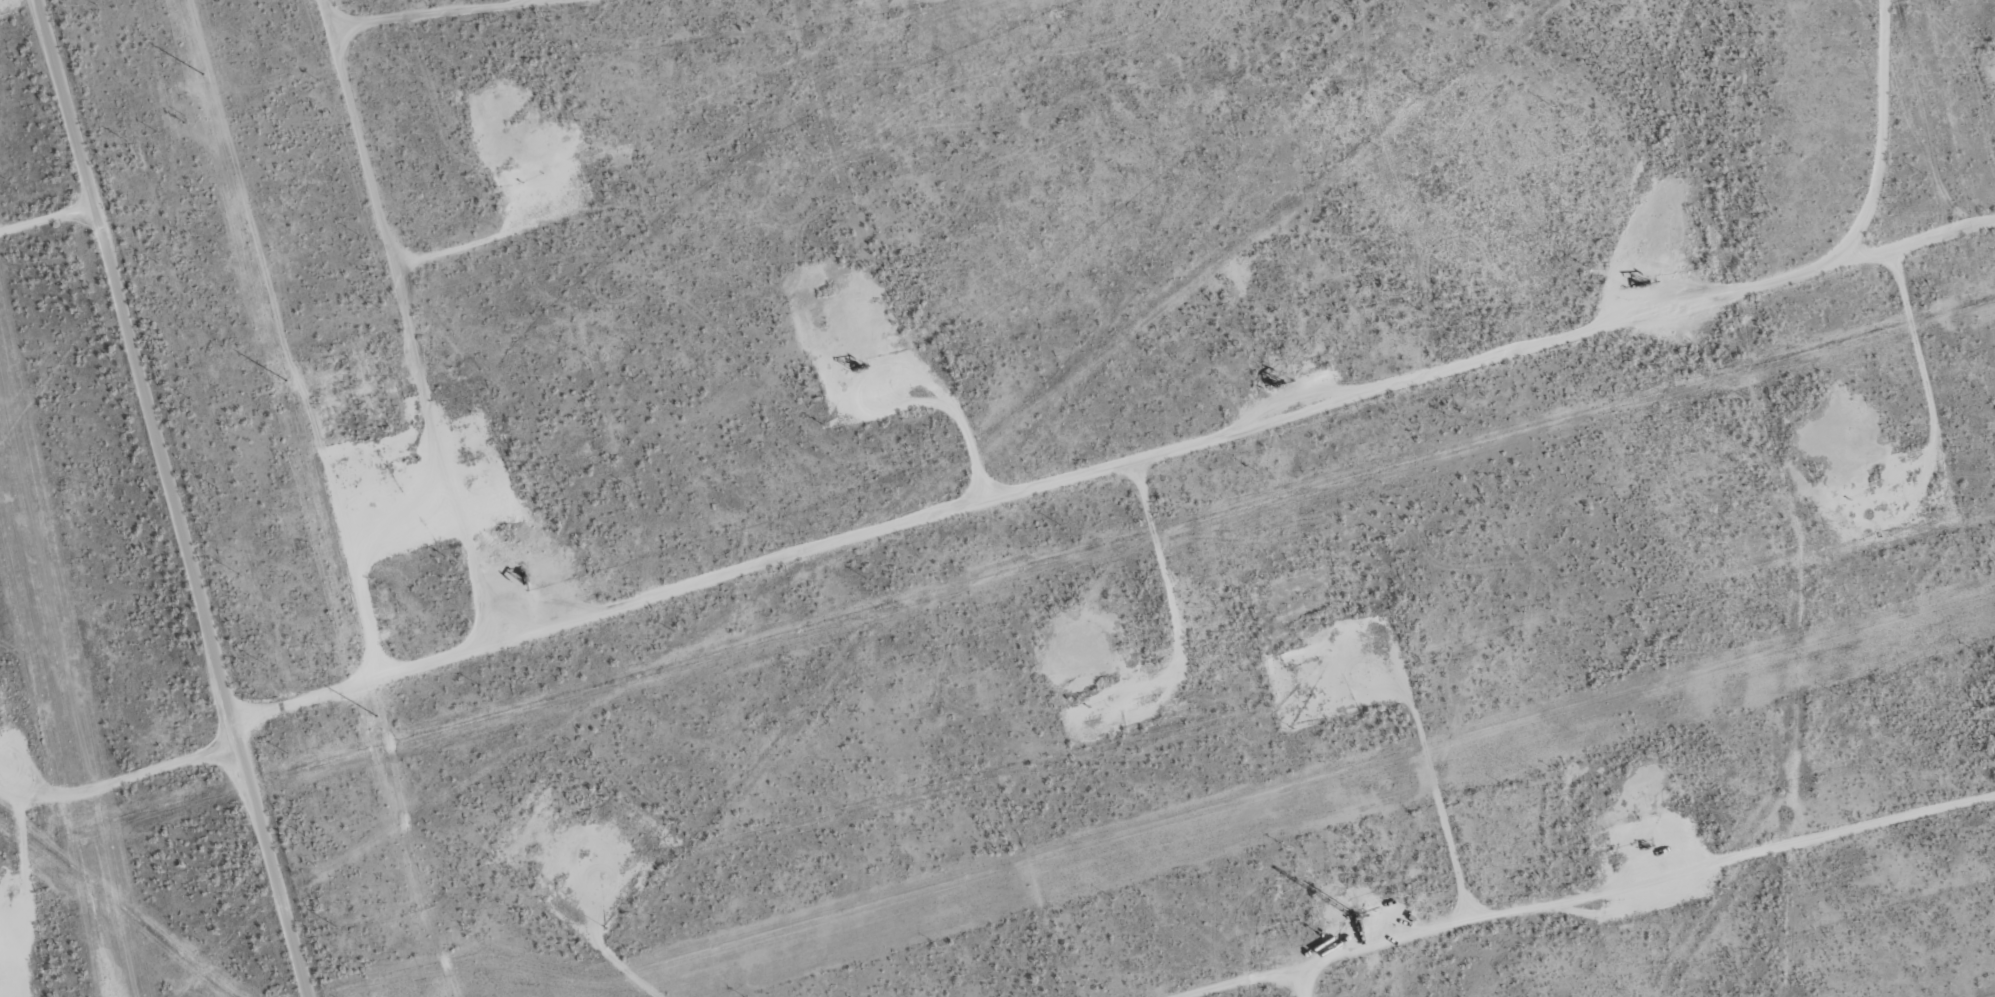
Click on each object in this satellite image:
road: (697, 170)
power tower: (261, 307)
road: (172, 498)
power tower: (354, 646)

